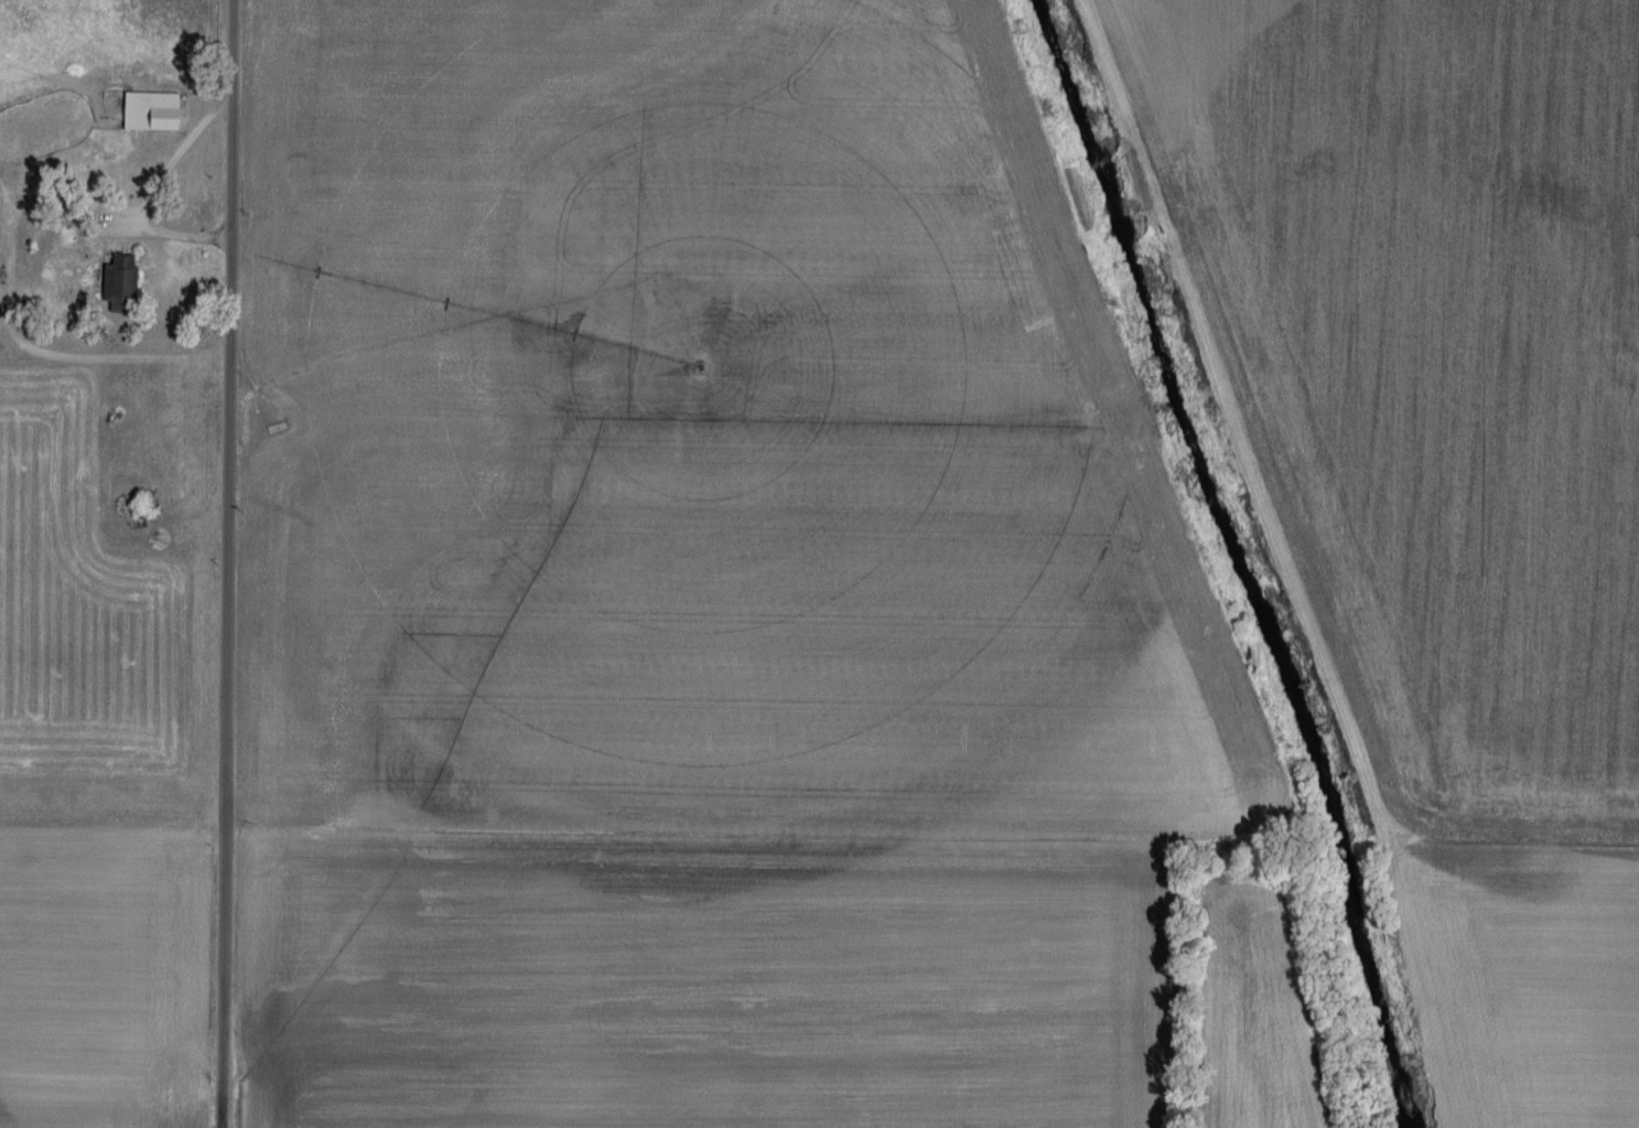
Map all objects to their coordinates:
building: (158, 111)
road: (175, 160)
road: (177, 237)
building: (127, 284)
road: (106, 362)
river: (1240, 560)
road: (227, 563)

